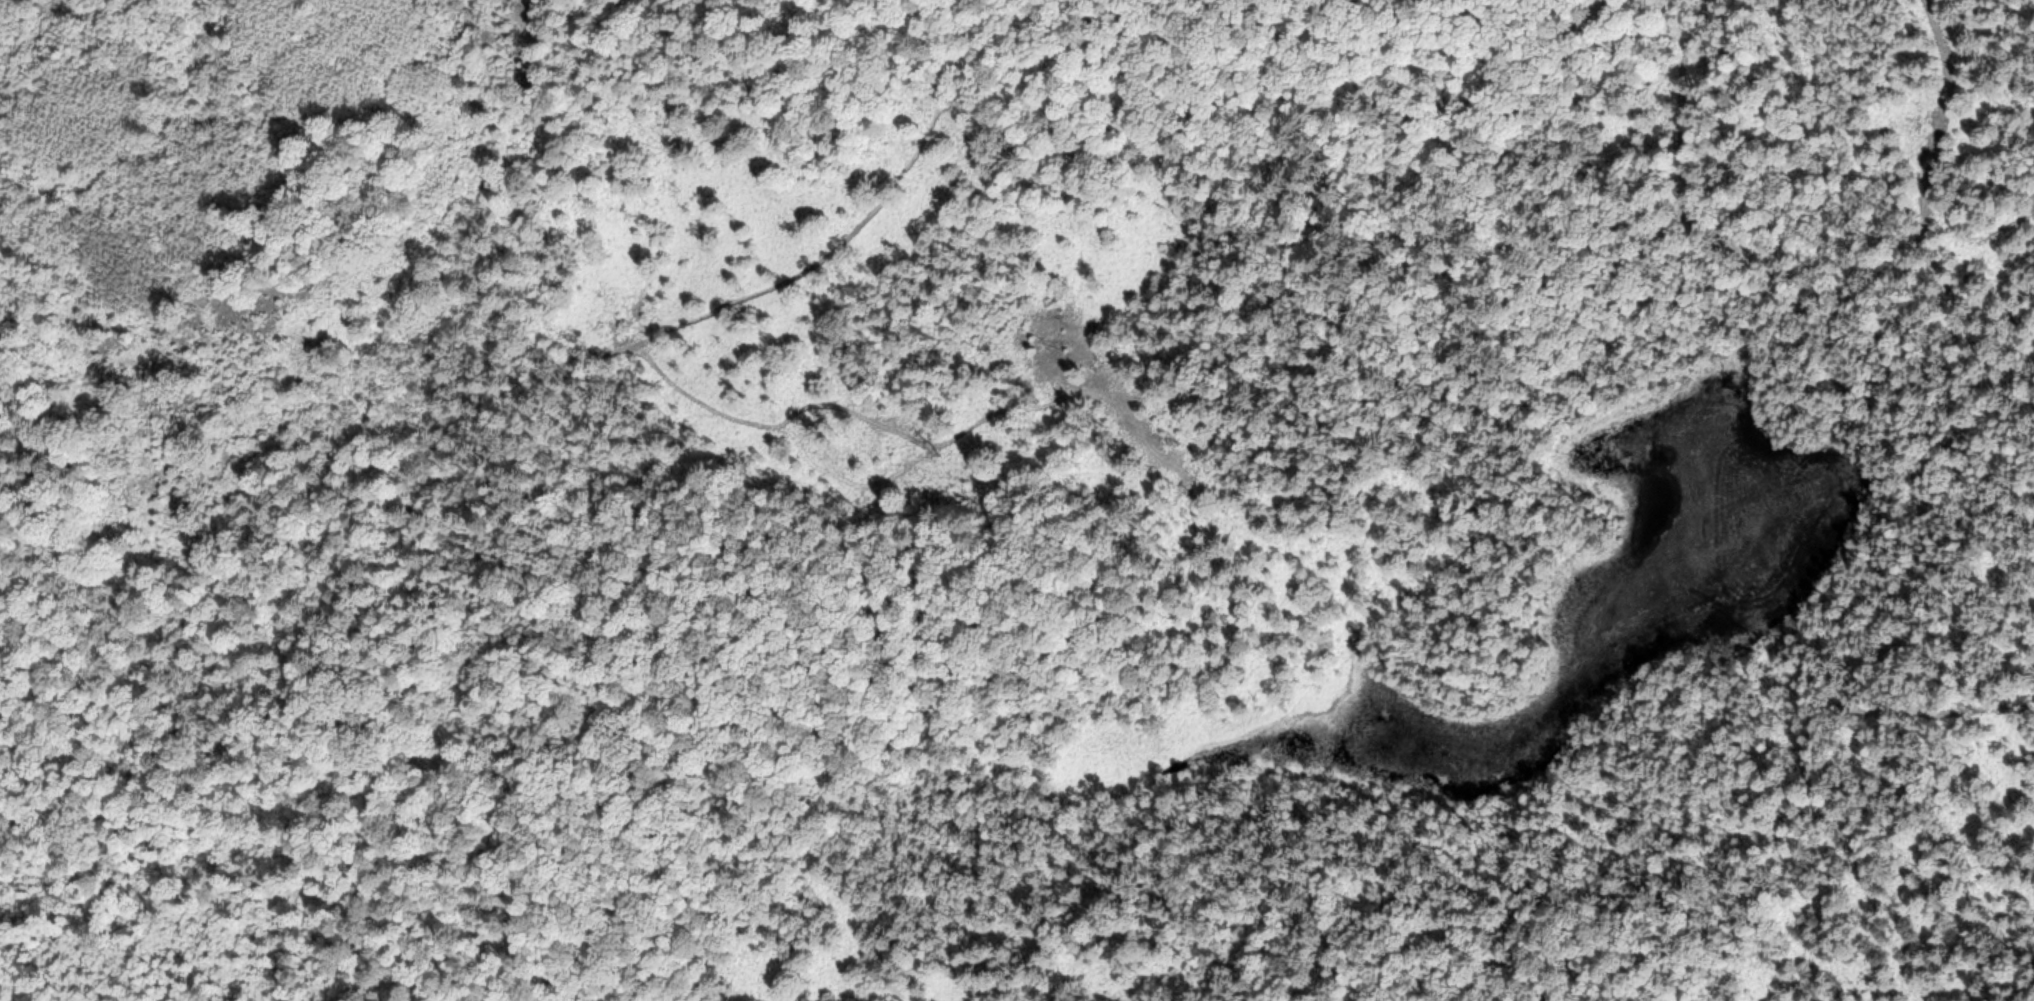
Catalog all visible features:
road: (1940, 102)
road: (1481, 174)
road: (515, 400)
road: (1011, 600)
road: (630, 925)
road: (485, 954)

